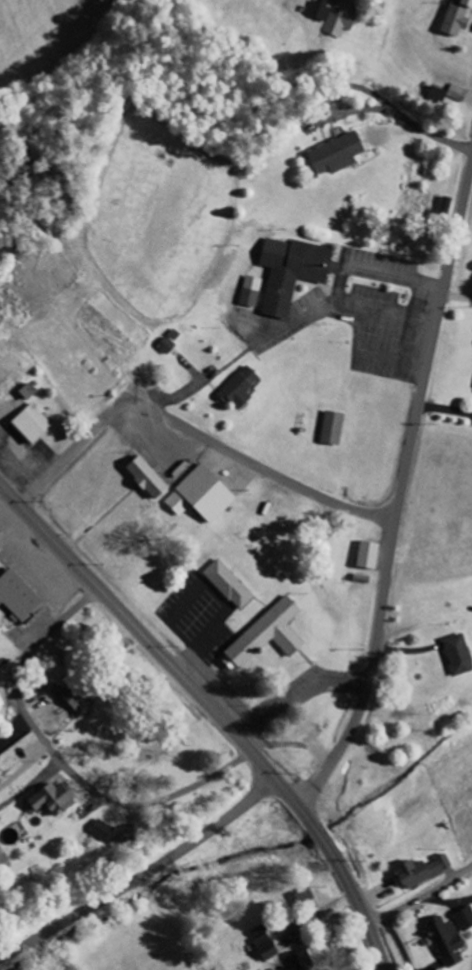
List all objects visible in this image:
building: (336, 15)
building: (459, 18)
building: (439, 96)
building: (340, 154)
building: (295, 272)
building: (253, 292)
road: (458, 306)
building: (169, 346)
building: (242, 388)
building: (31, 392)
building: (34, 424)
building: (335, 429)
road: (198, 432)
building: (150, 478)
building: (204, 496)
road: (404, 502)
building: (371, 556)
building: (231, 585)
building: (20, 598)
parking lot: (201, 610)
building: (270, 636)
road: (202, 648)
building: (460, 655)
building: (78, 701)
road: (215, 710)
road: (62, 761)
building: (2, 778)
building: (54, 800)
building: (424, 872)
road: (143, 874)
building: (306, 896)
road: (421, 896)
building: (465, 920)
building: (449, 943)
building: (268, 947)
building: (304, 962)
road: (384, 968)

